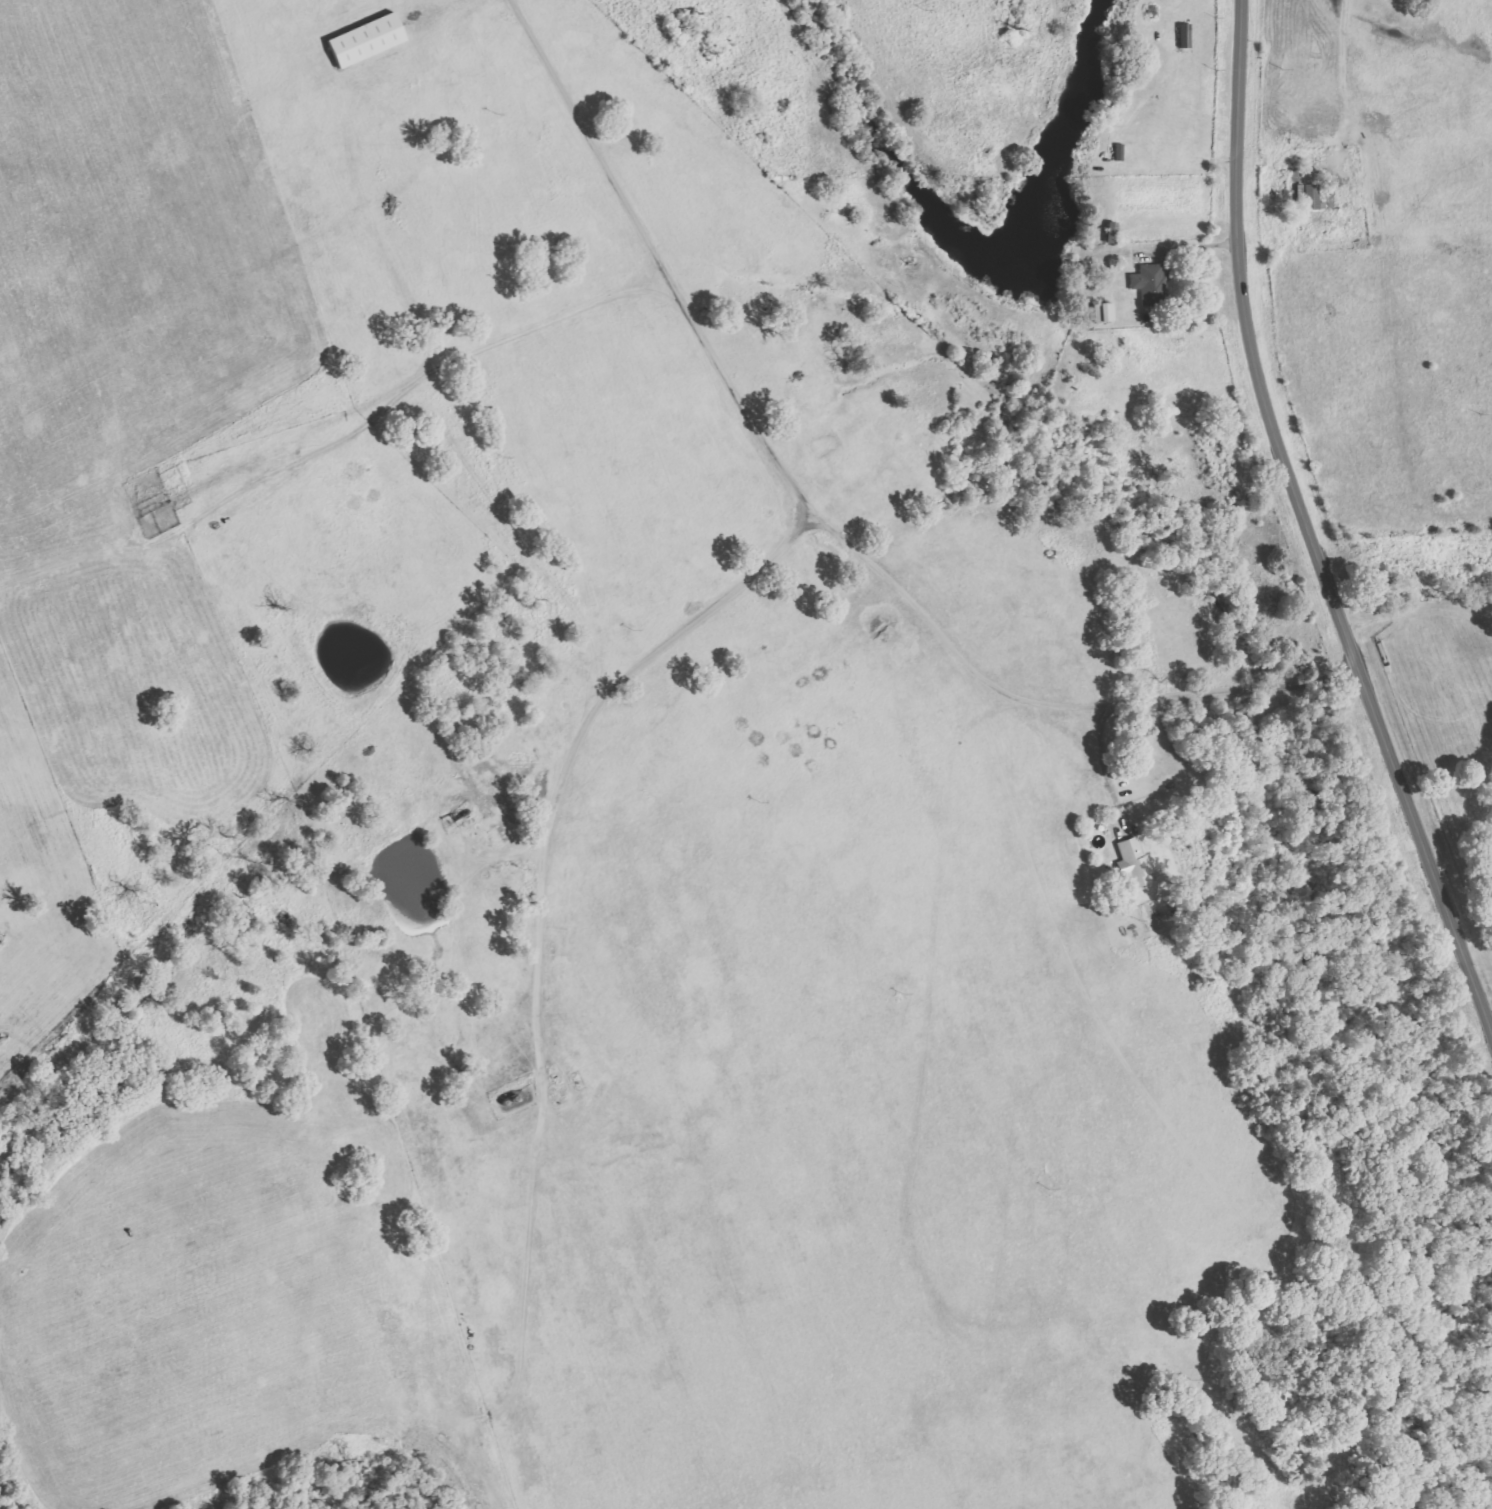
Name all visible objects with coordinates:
building: (366, 39)
building: (1308, 196)
building: (1150, 283)
building: (1104, 312)
road: (821, 519)
road: (1308, 527)
building: (1134, 863)

